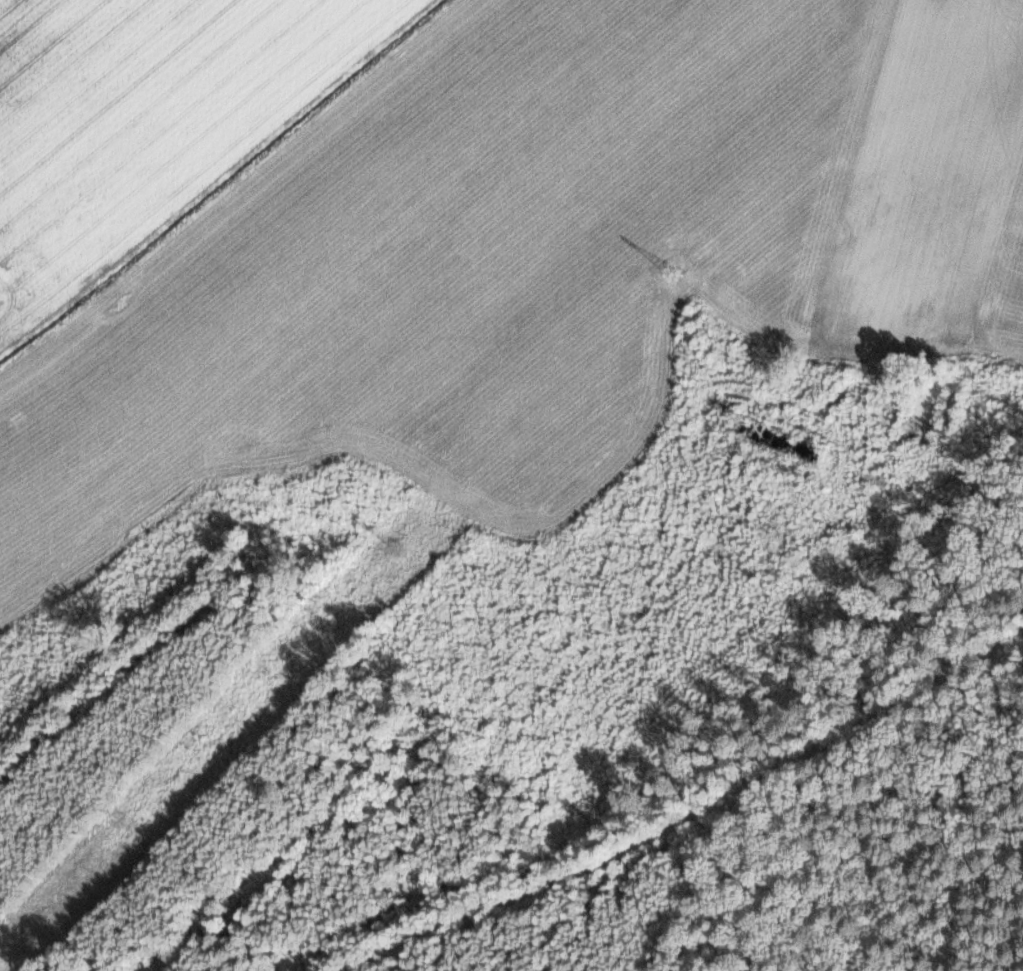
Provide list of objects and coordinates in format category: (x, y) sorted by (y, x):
power tower: (667, 274)
power tower: (401, 550)
power tower: (135, 825)

